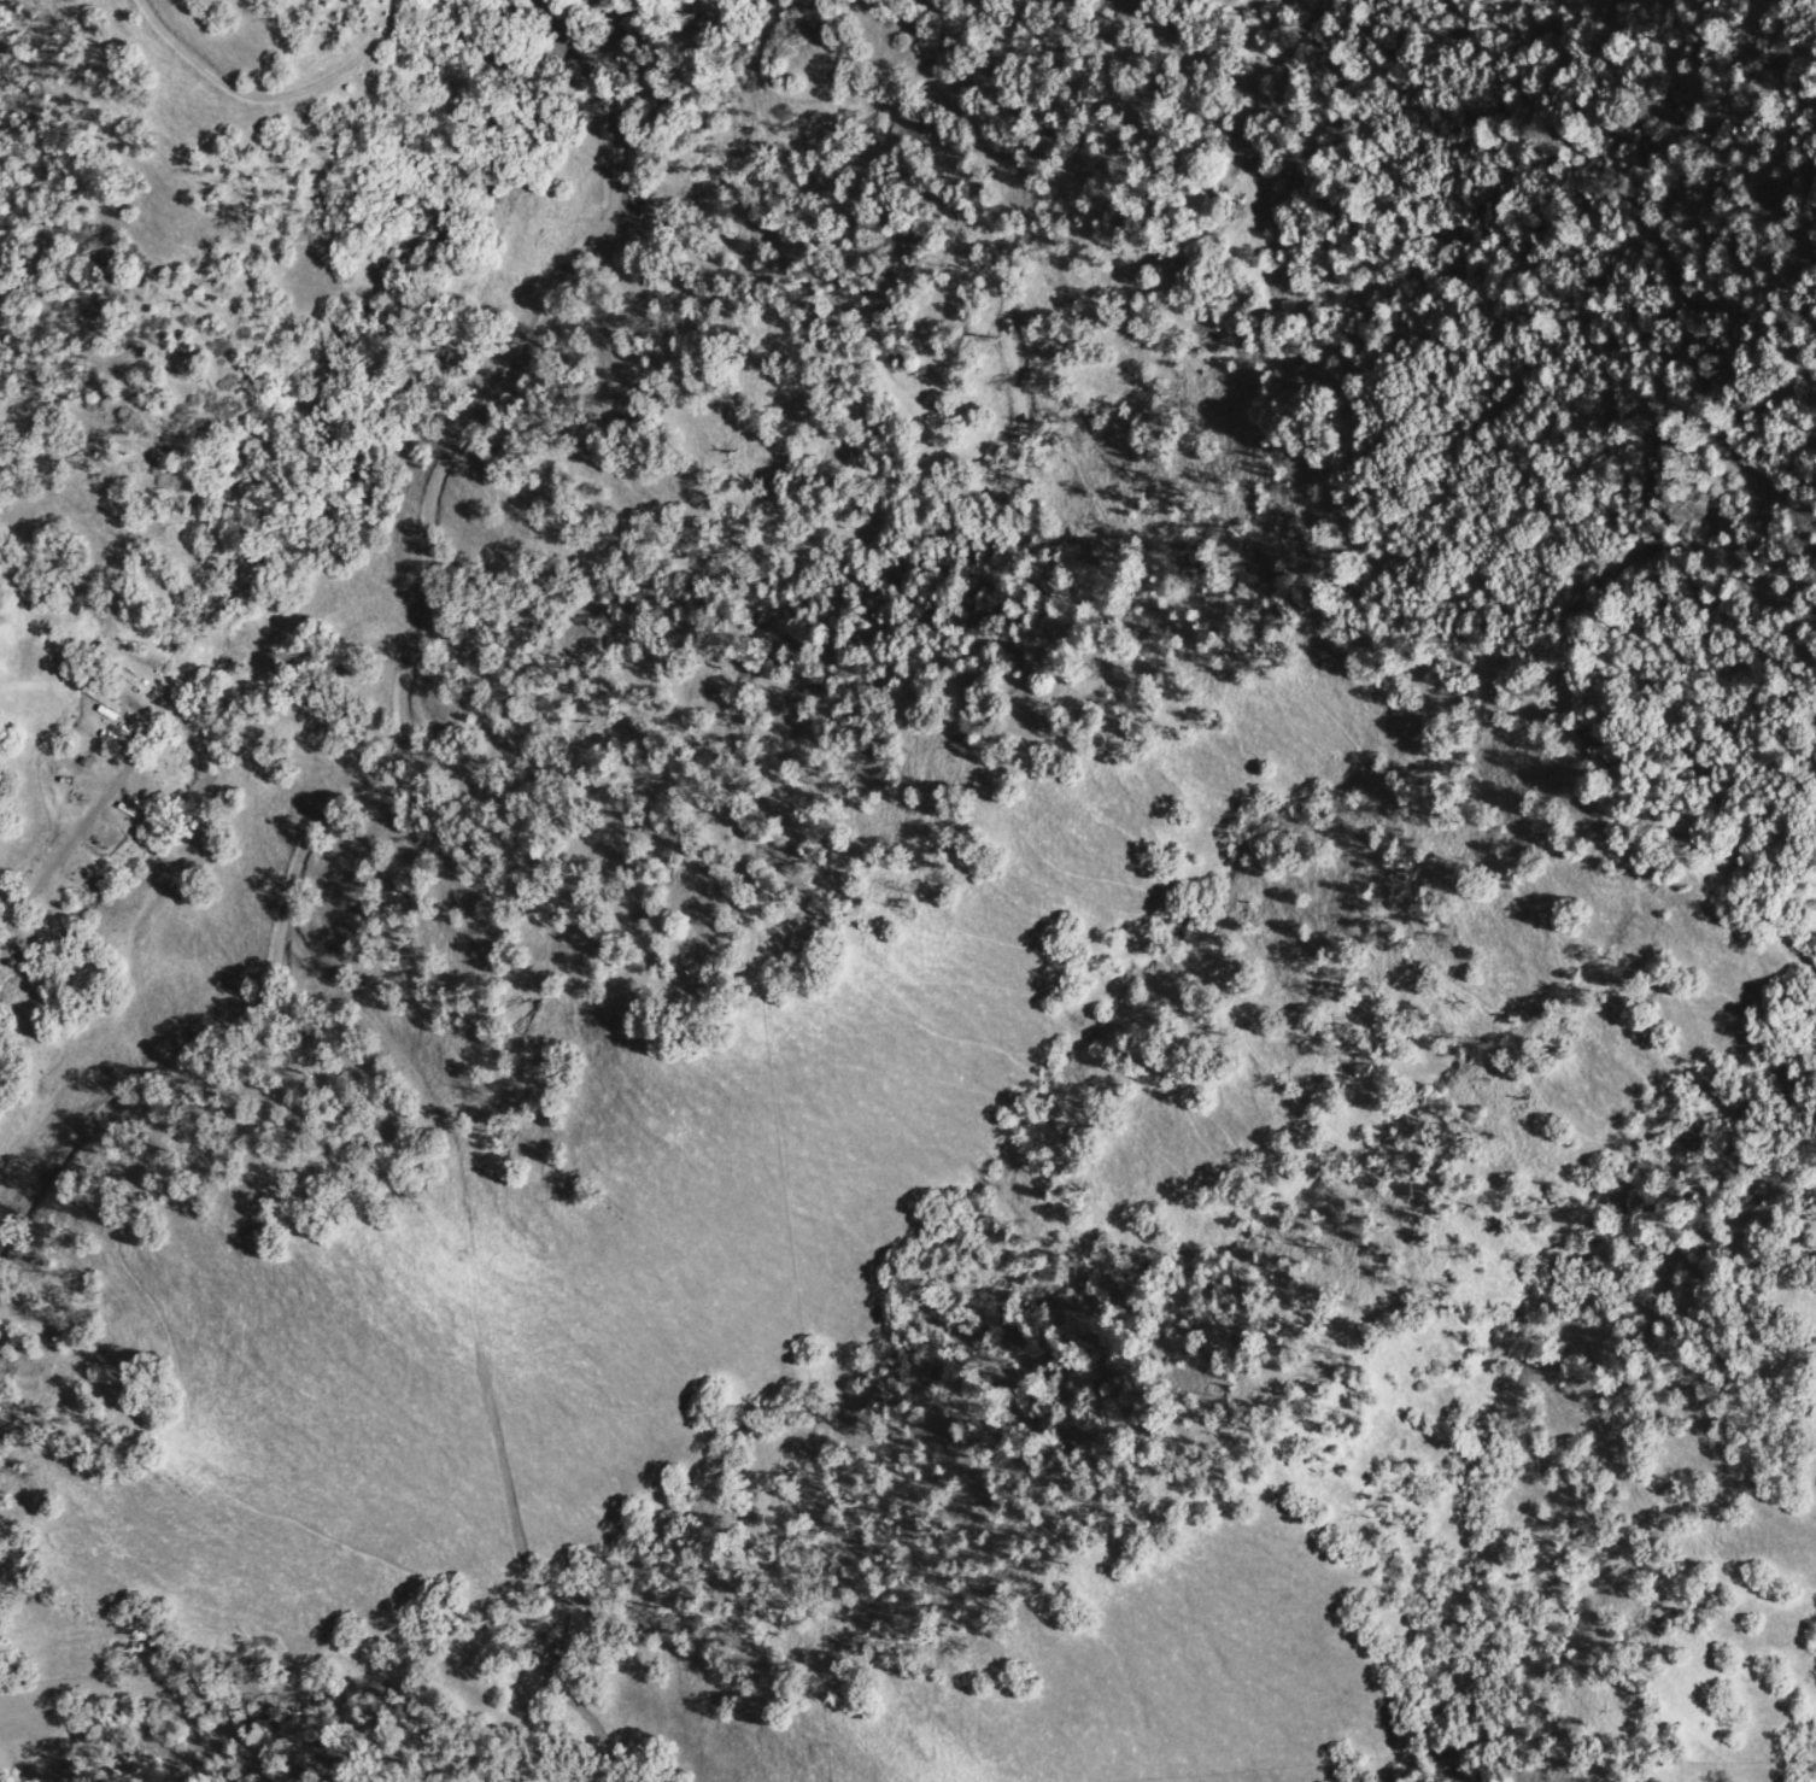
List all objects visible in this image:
road: (271, 99)
road: (406, 669)
road: (18, 1766)

